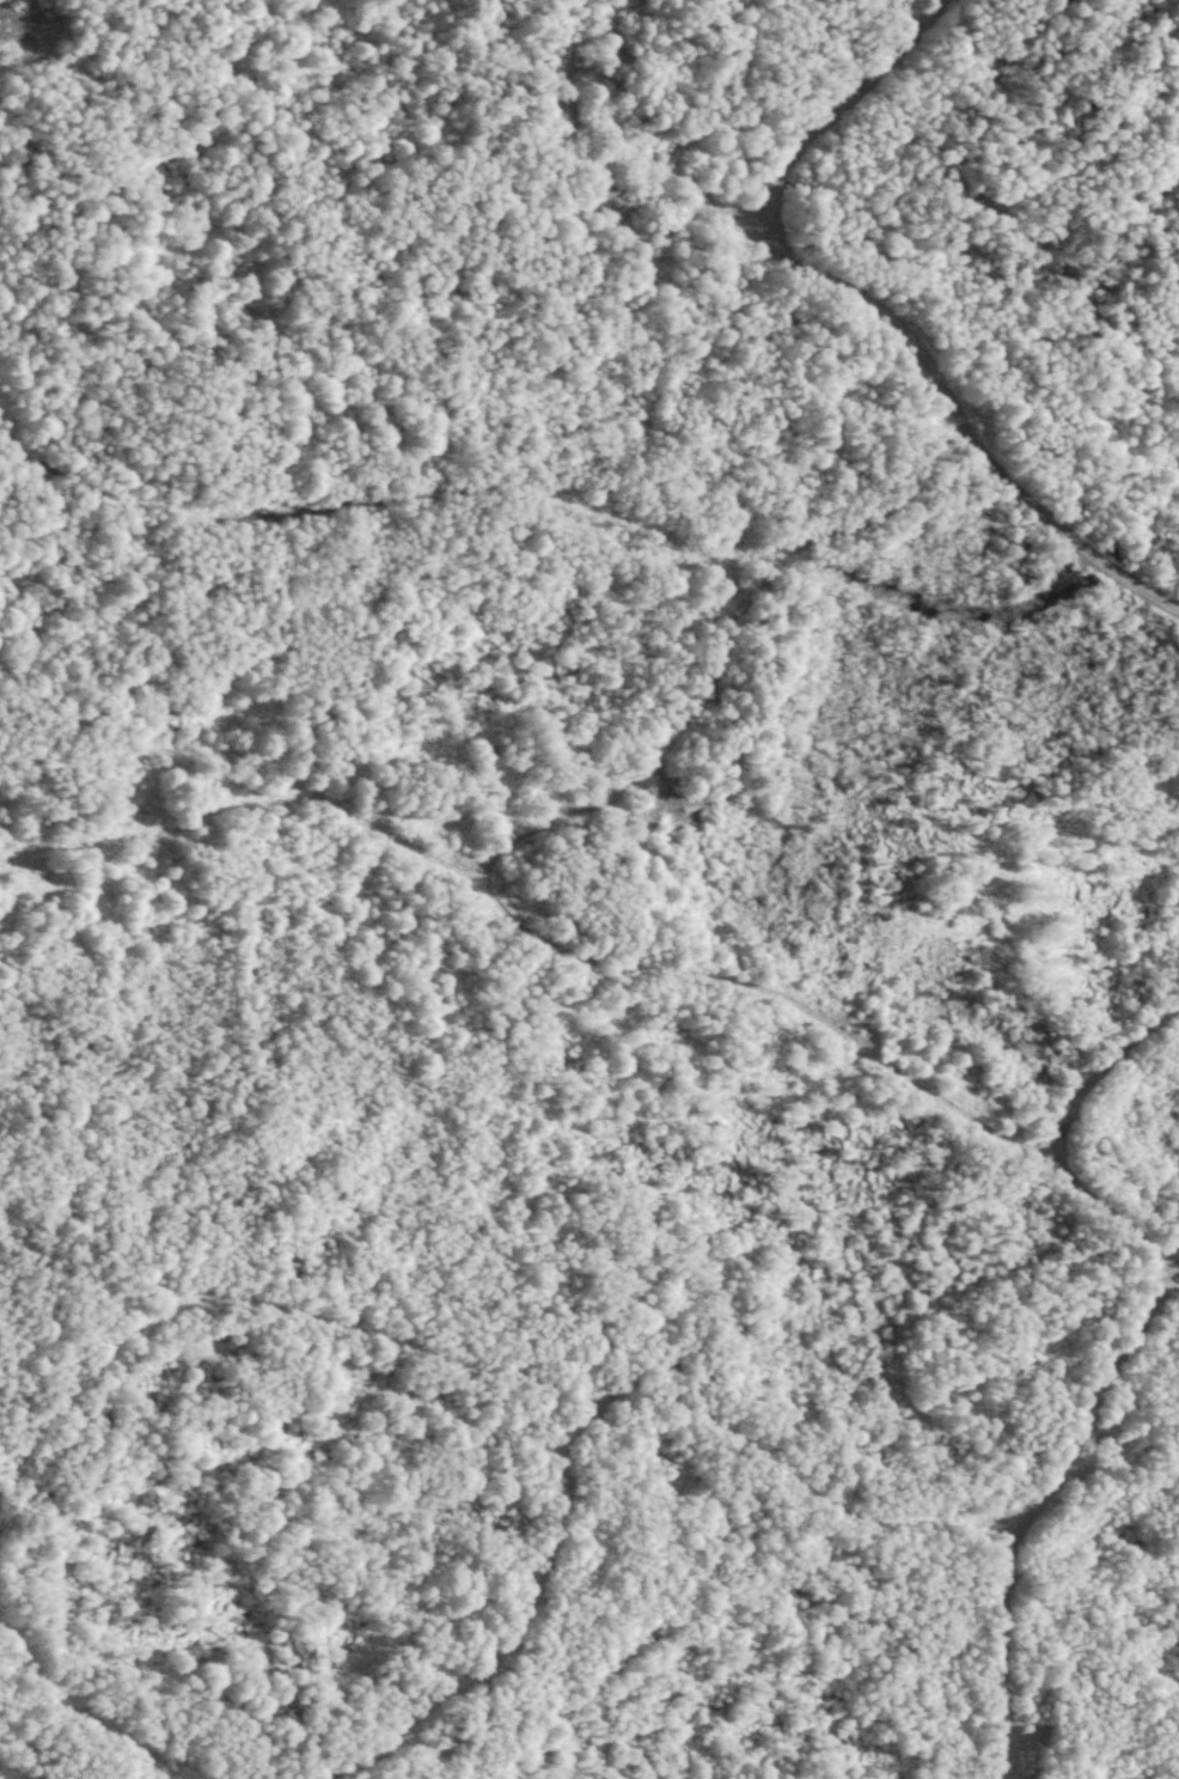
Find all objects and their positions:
road: (865, 299)
road: (1069, 1139)
road: (1025, 1499)

